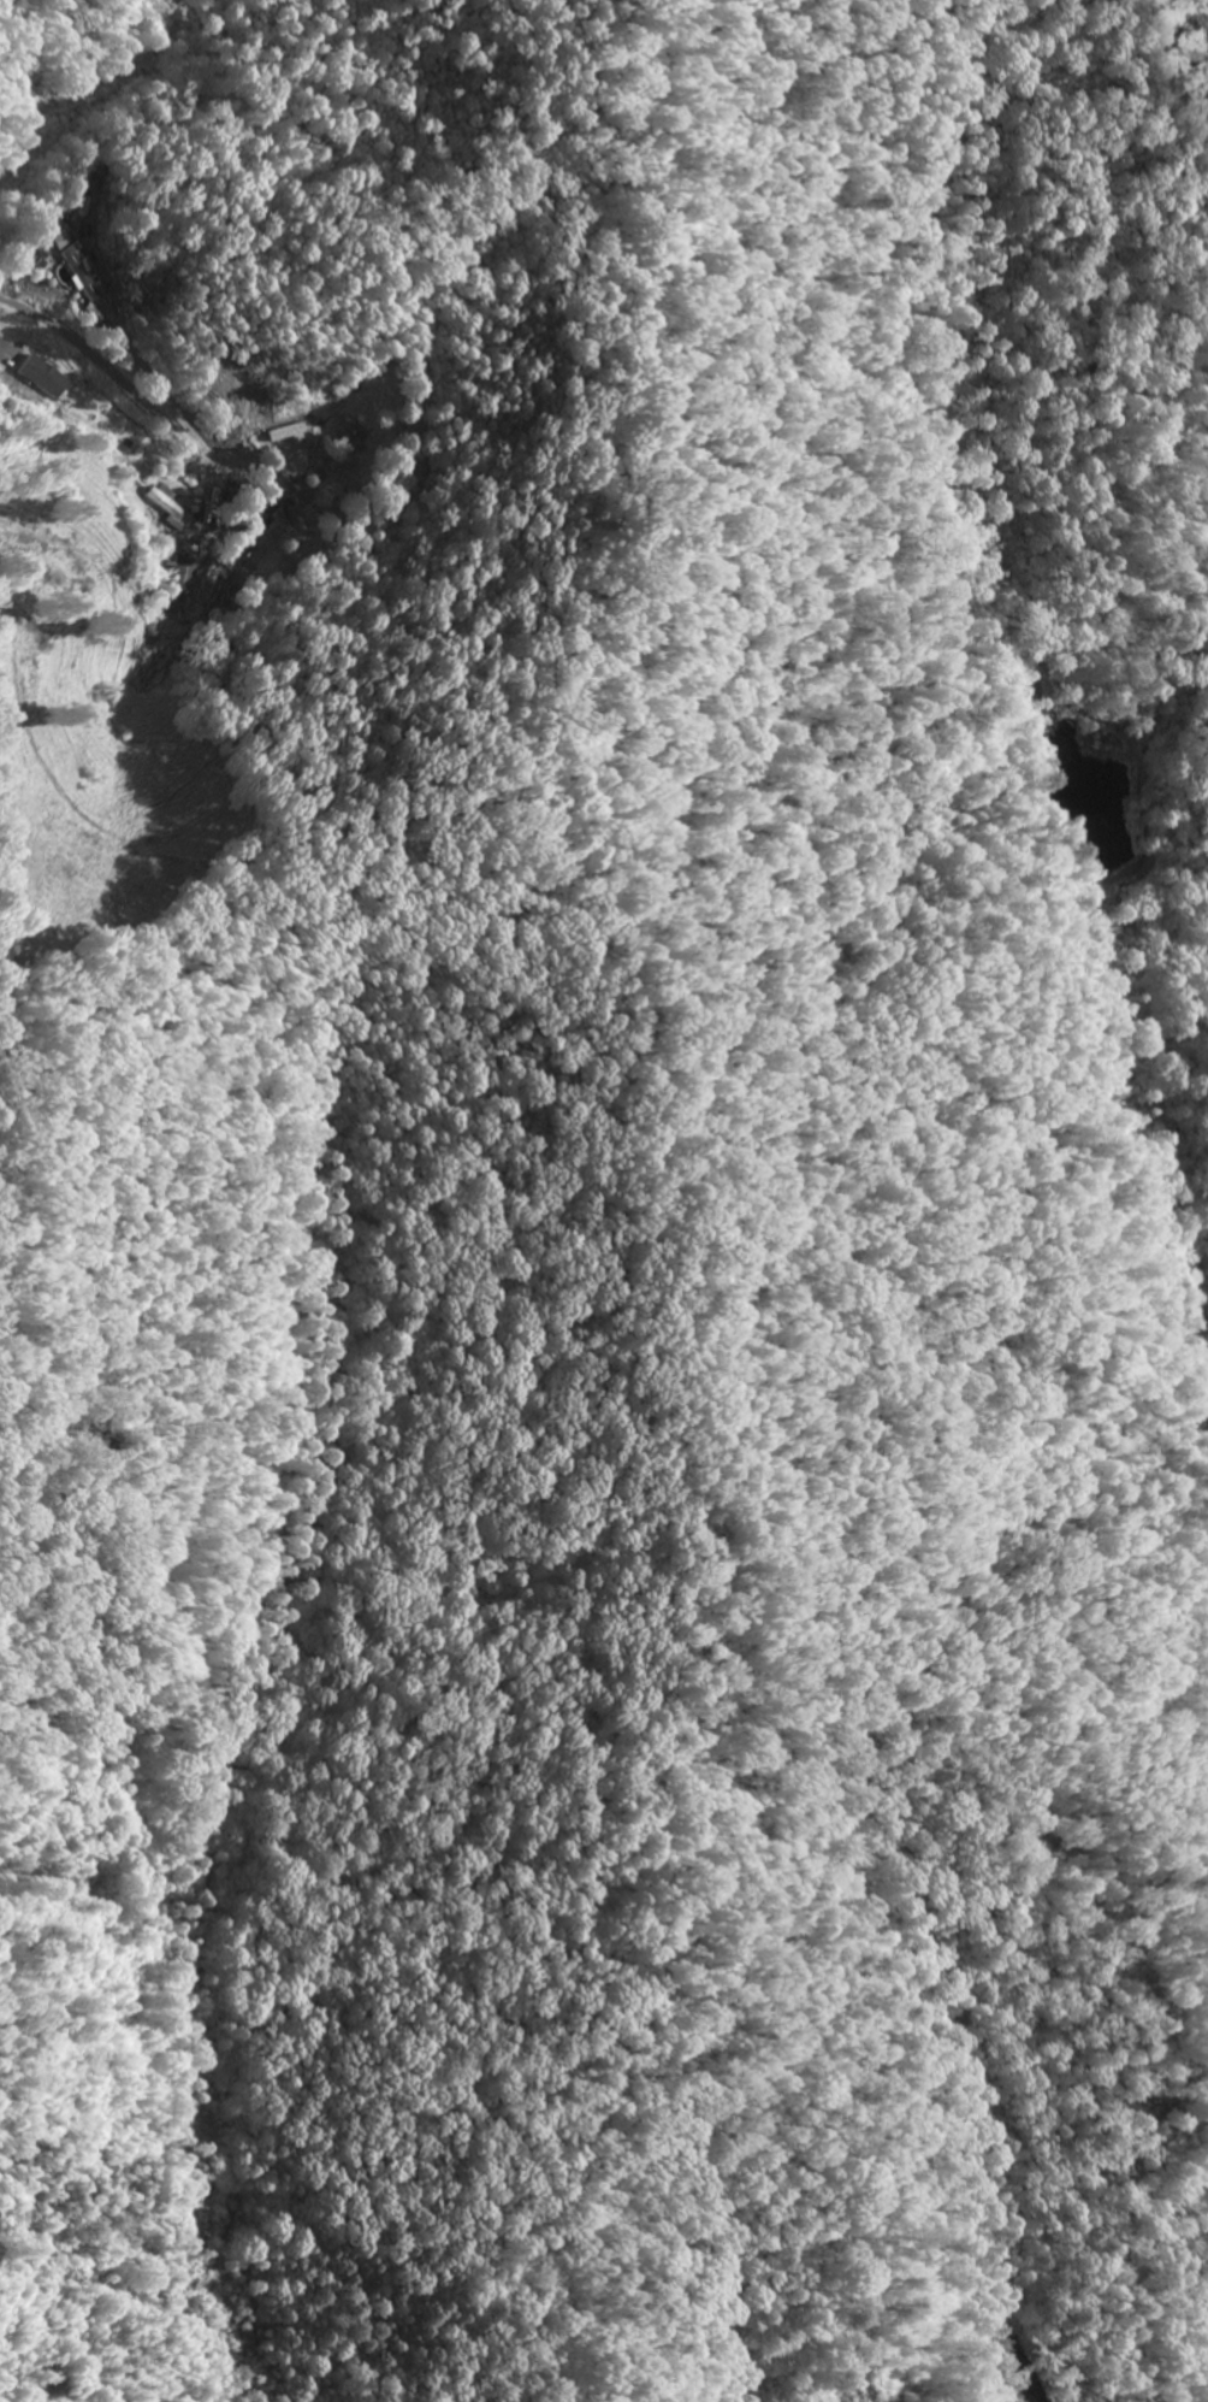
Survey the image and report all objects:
building: (59, 241)
building: (83, 276)
road: (106, 365)
building: (46, 376)
building: (298, 433)
building: (171, 507)
building: (182, 580)

